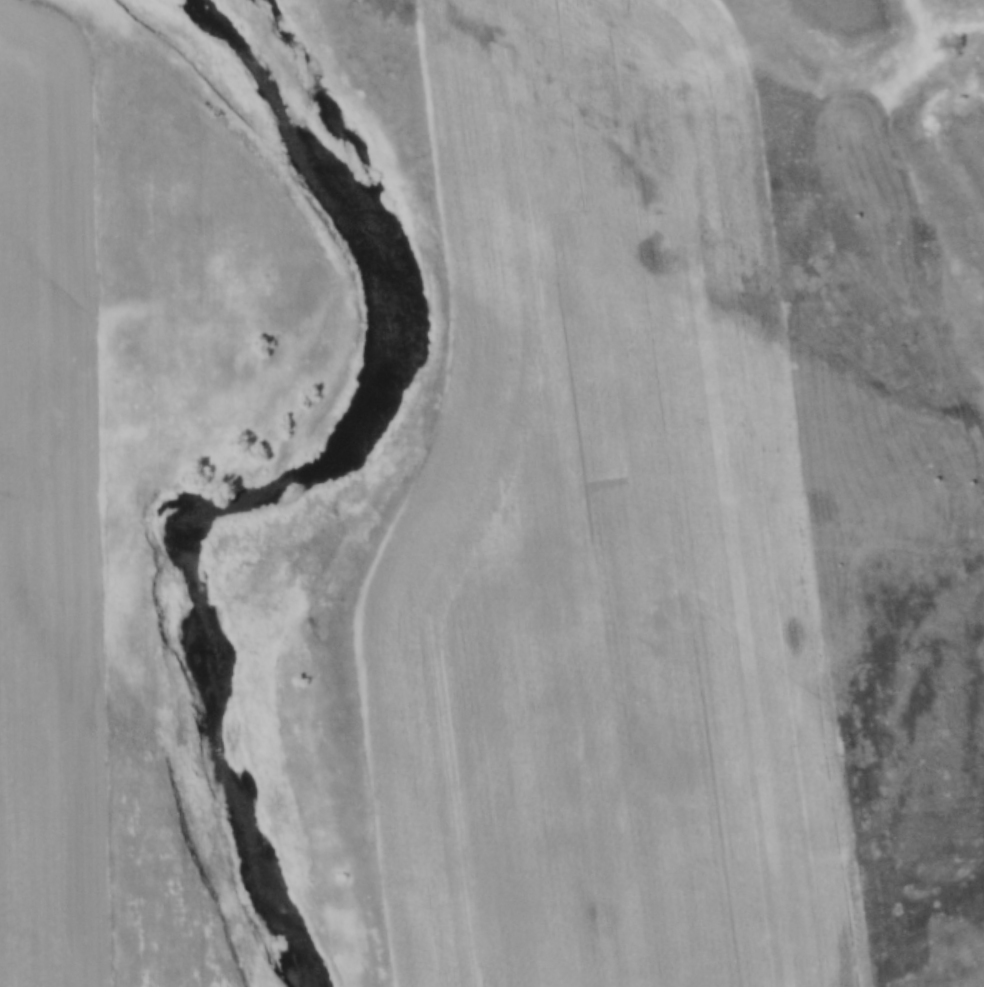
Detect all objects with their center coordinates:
river: (275, 477)

